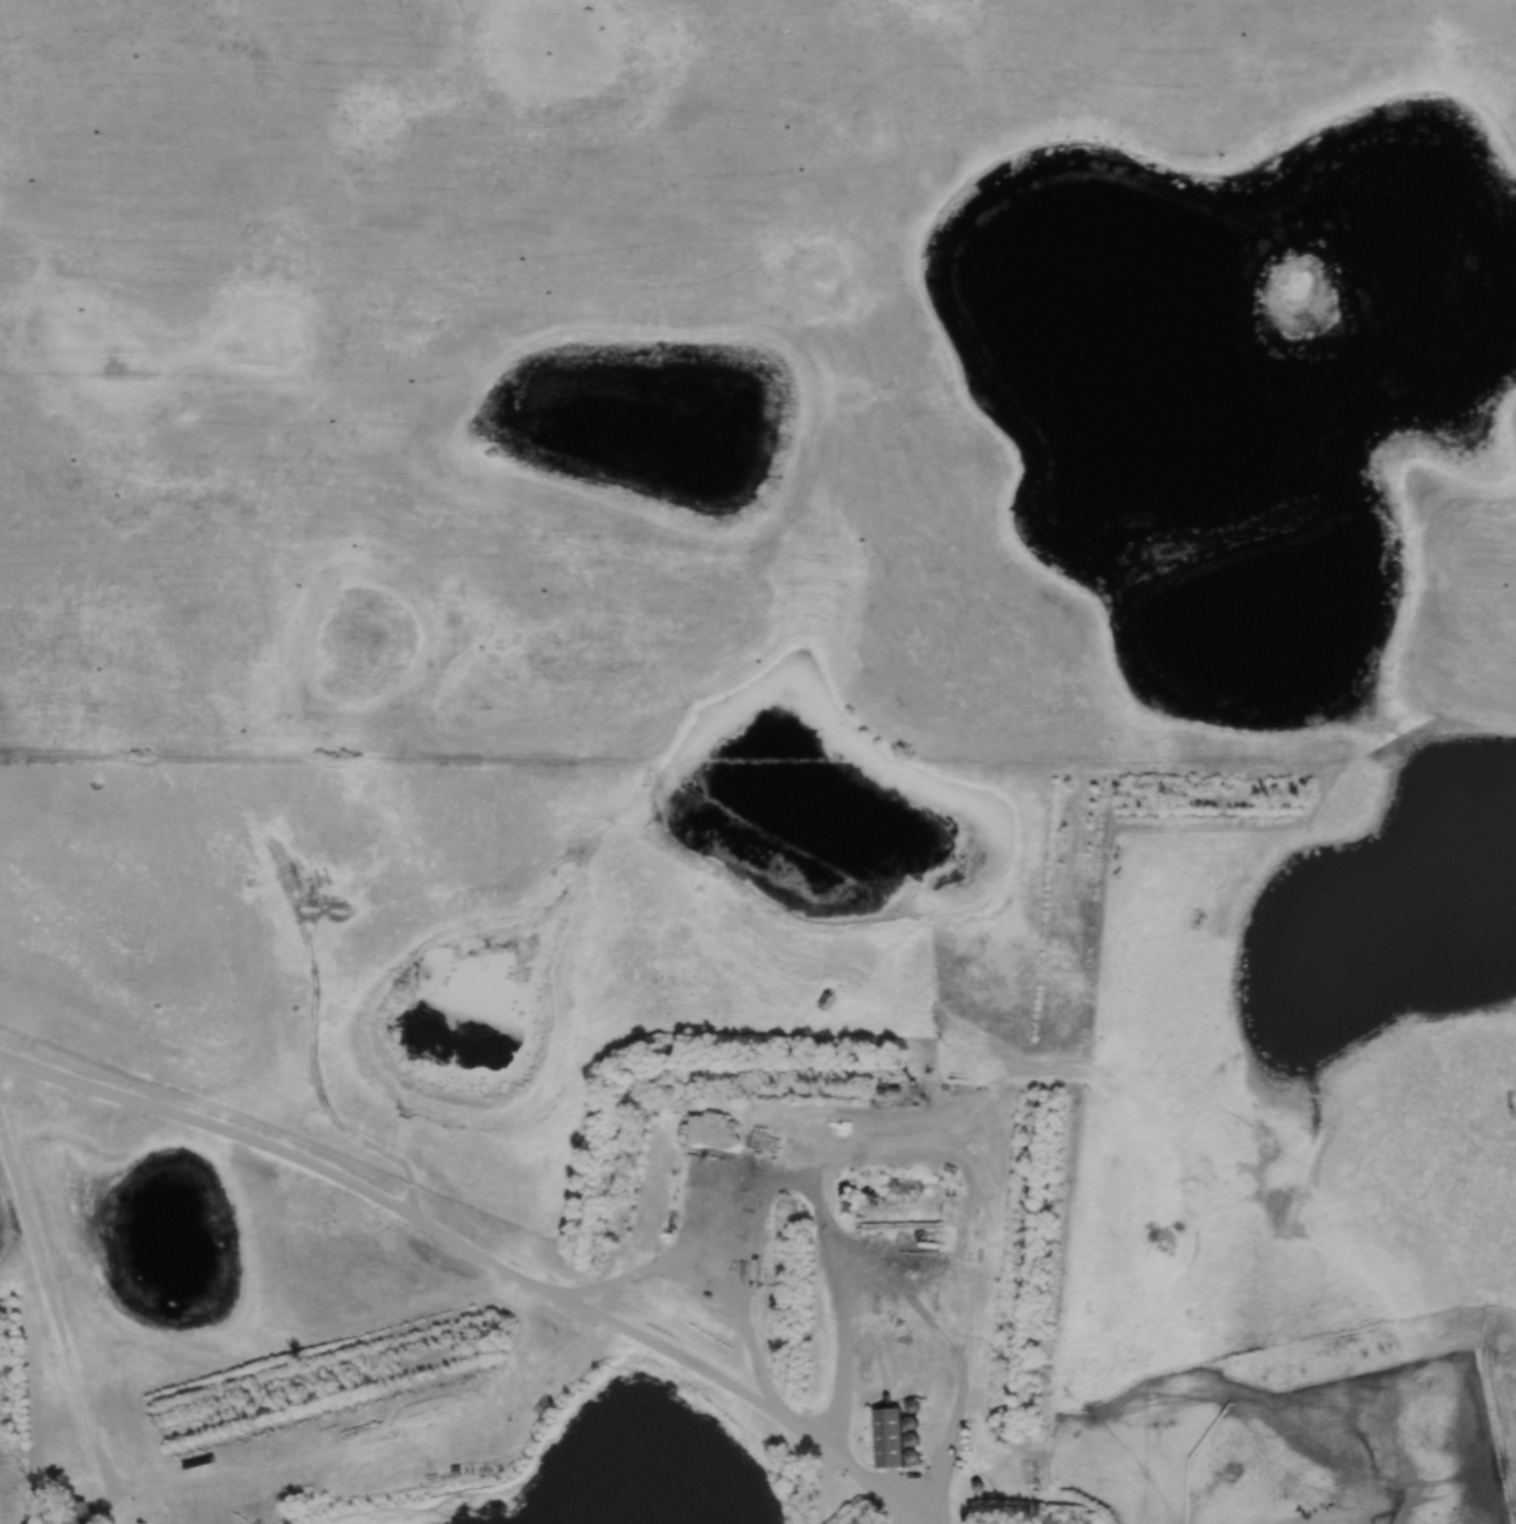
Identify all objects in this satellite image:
road: (853, 1239)
road: (471, 1256)
road: (61, 1323)
road: (849, 1351)
building: (892, 1439)
road: (823, 1489)
road: (1417, 1489)
building: (78, 1512)

